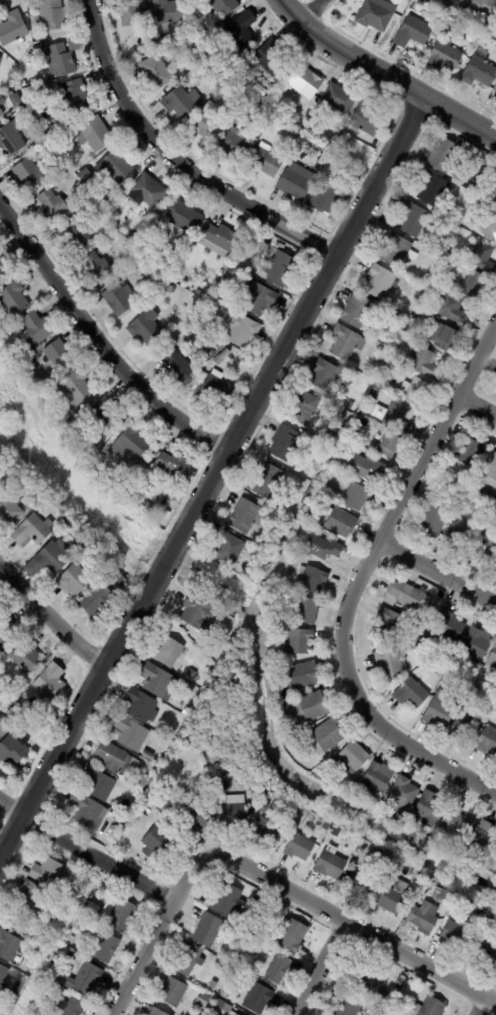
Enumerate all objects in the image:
building: (458, 1)
building: (224, 6)
road: (311, 11)
building: (484, 11)
building: (167, 13)
building: (52, 14)
building: (134, 14)
building: (376, 15)
building: (445, 25)
building: (459, 25)
building: (13, 28)
building: (243, 30)
building: (195, 32)
building: (413, 32)
building: (74, 45)
building: (445, 57)
building: (0, 58)
building: (271, 58)
building: (59, 61)
building: (208, 67)
building: (155, 72)
building: (479, 73)
road: (384, 74)
building: (229, 77)
building: (303, 83)
building: (22, 84)
building: (495, 91)
building: (73, 98)
building: (340, 99)
building: (1, 101)
building: (180, 103)
building: (1, 114)
building: (366, 120)
building: (26, 122)
building: (67, 123)
building: (205, 124)
building: (309, 127)
building: (288, 131)
building: (94, 134)
building: (298, 134)
building: (12, 137)
building: (34, 140)
building: (255, 141)
building: (49, 144)
building: (235, 146)
building: (343, 150)
building: (444, 154)
building: (326, 156)
building: (355, 158)
building: (332, 160)
road: (174, 161)
building: (487, 161)
building: (265, 163)
building: (115, 166)
building: (30, 174)
building: (478, 178)
building: (296, 181)
building: (434, 188)
building: (472, 188)
building: (149, 191)
building: (327, 199)
building: (92, 204)
building: (105, 205)
building: (53, 206)
building: (457, 213)
building: (139, 214)
building: (183, 217)
building: (413, 219)
building: (490, 226)
building: (448, 227)
building: (77, 234)
building: (220, 238)
building: (130, 239)
building: (396, 249)
building: (456, 254)
building: (482, 256)
building: (237, 261)
building: (453, 261)
building: (250, 265)
building: (124, 268)
building: (279, 269)
building: (98, 270)
building: (4, 271)
building: (131, 271)
building: (226, 281)
building: (380, 281)
building: (475, 285)
building: (171, 290)
building: (202, 295)
building: (258, 297)
building: (14, 299)
building: (119, 299)
building: (420, 301)
building: (453, 308)
building: (358, 311)
road: (300, 318)
building: (396, 318)
building: (412, 319)
building: (409, 326)
building: (144, 328)
building: (37, 329)
building: (241, 329)
building: (445, 337)
building: (205, 338)
building: (345, 342)
road: (97, 343)
building: (23, 355)
building: (59, 356)
building: (220, 357)
building: (424, 362)
building: (28, 365)
building: (178, 367)
building: (376, 369)
building: (327, 374)
building: (75, 389)
building: (216, 390)
building: (416, 392)
building: (374, 393)
building: (350, 405)
road: (476, 405)
building: (304, 408)
building: (108, 414)
building: (397, 416)
building: (134, 443)
building: (286, 443)
building: (390, 444)
building: (471, 452)
building: (175, 466)
building: (364, 466)
building: (490, 469)
building: (264, 480)
building: (127, 481)
building: (0, 491)
building: (309, 494)
building: (357, 497)
building: (488, 497)
building: (470, 504)
building: (148, 508)
building: (9, 513)
building: (246, 516)
building: (433, 521)
building: (61, 522)
building: (342, 522)
building: (32, 532)
building: (458, 535)
building: (83, 546)
building: (229, 547)
building: (323, 547)
building: (485, 549)
road: (167, 555)
building: (266, 559)
building: (49, 560)
building: (495, 568)
road: (437, 573)
building: (313, 580)
road: (357, 580)
building: (74, 581)
building: (122, 582)
building: (404, 595)
building: (431, 600)
building: (97, 601)
building: (306, 611)
building: (199, 613)
building: (424, 614)
road: (50, 619)
building: (231, 619)
building: (391, 623)
building: (450, 626)
building: (6, 637)
building: (297, 640)
building: (477, 643)
building: (418, 648)
building: (169, 651)
building: (493, 658)
building: (28, 659)
building: (391, 662)
building: (191, 673)
building: (305, 674)
building: (466, 678)
building: (157, 680)
building: (50, 684)
building: (1, 693)
building: (411, 693)
building: (142, 706)
building: (286, 706)
building: (315, 706)
building: (16, 710)
road: (78, 711)
building: (185, 711)
building: (439, 713)
building: (178, 719)
building: (465, 725)
building: (3, 730)
building: (130, 733)
building: (327, 737)
building: (487, 741)
building: (14, 748)
building: (148, 755)
building: (352, 759)
building: (116, 761)
building: (211, 768)
building: (323, 770)
building: (378, 777)
building: (98, 784)
building: (252, 787)
building: (354, 789)
building: (261, 791)
building: (403, 797)
building: (374, 801)
building: (264, 808)
building: (430, 808)
building: (86, 809)
building: (230, 810)
building: (165, 811)
building: (192, 819)
building: (456, 822)
building: (119, 825)
building: (304, 830)
building: (325, 830)
building: (268, 832)
building: (344, 832)
building: (480, 839)
building: (157, 843)
building: (300, 847)
road: (86, 851)
building: (331, 863)
building: (400, 864)
building: (495, 865)
building: (49, 873)
road: (270, 881)
building: (359, 887)
building: (32, 895)
building: (442, 895)
building: (453, 896)
building: (418, 897)
building: (394, 898)
building: (227, 900)
building: (93, 910)
building: (118, 914)
building: (425, 916)
building: (489, 919)
building: (477, 924)
building: (208, 930)
building: (455, 932)
building: (292, 936)
building: (238, 945)
building: (9, 946)
building: (484, 950)
building: (112, 951)
building: (66, 953)
building: (189, 960)
road: (318, 967)
building: (278, 969)
building: (3, 974)
building: (368, 978)
building: (85, 979)
building: (17, 989)
building: (173, 992)
building: (226, 995)
building: (257, 997)
building: (203, 1000)
building: (383, 1000)
building: (349, 1004)
road: (478, 1005)
building: (72, 1007)
building: (225, 1007)
building: (429, 1008)
building: (156, 1012)
building: (393, 1014)

